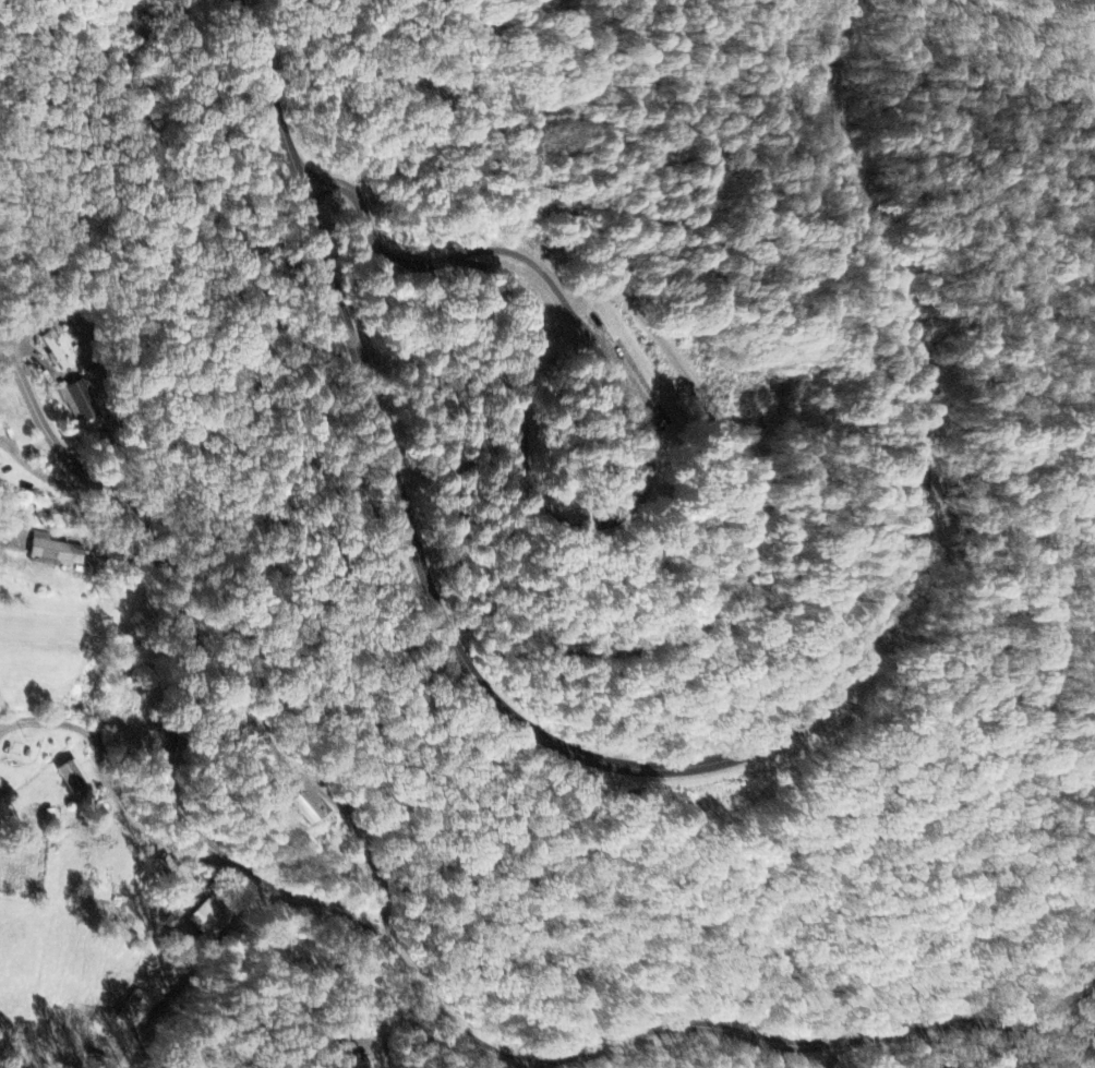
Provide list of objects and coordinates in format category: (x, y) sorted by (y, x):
road: (274, 92)
road: (514, 137)
road: (171, 172)
road: (373, 230)
road: (530, 259)
road: (597, 291)
building: (56, 349)
parking lot: (622, 377)
building: (86, 404)
road: (550, 512)
road: (732, 549)
building: (49, 550)
road: (756, 747)
building: (75, 777)
road: (113, 777)
road: (312, 780)
building: (304, 809)
building: (204, 917)
road: (383, 940)
road: (188, 972)
building: (129, 1006)
road: (381, 1015)
building: (342, 1056)
road: (835, 1056)

